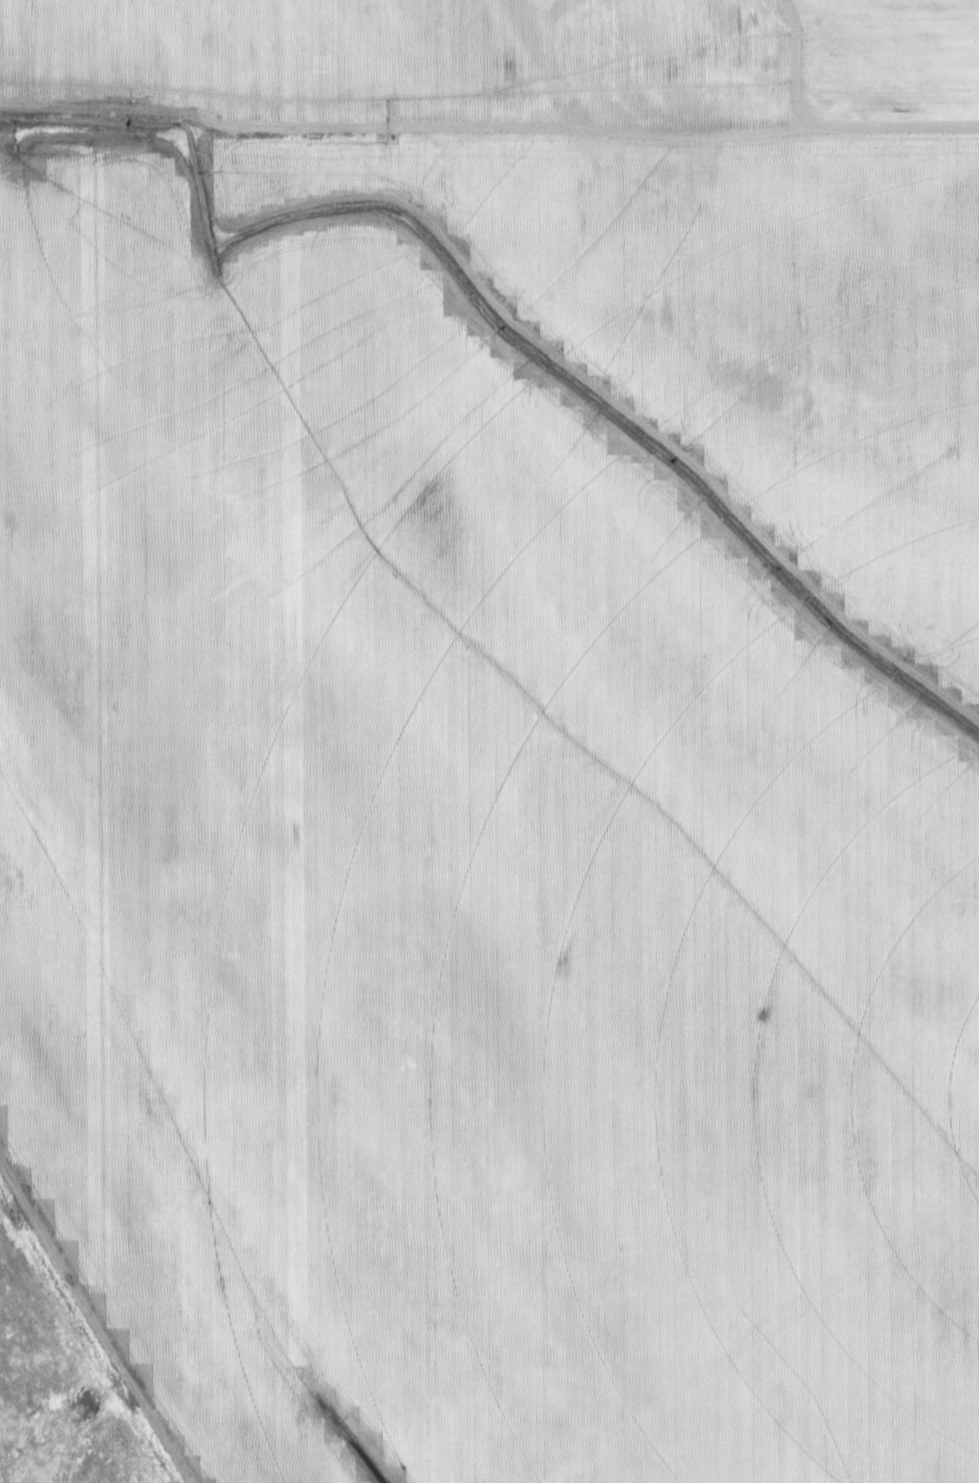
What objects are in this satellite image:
road: (828, 127)
road: (91, 1323)

